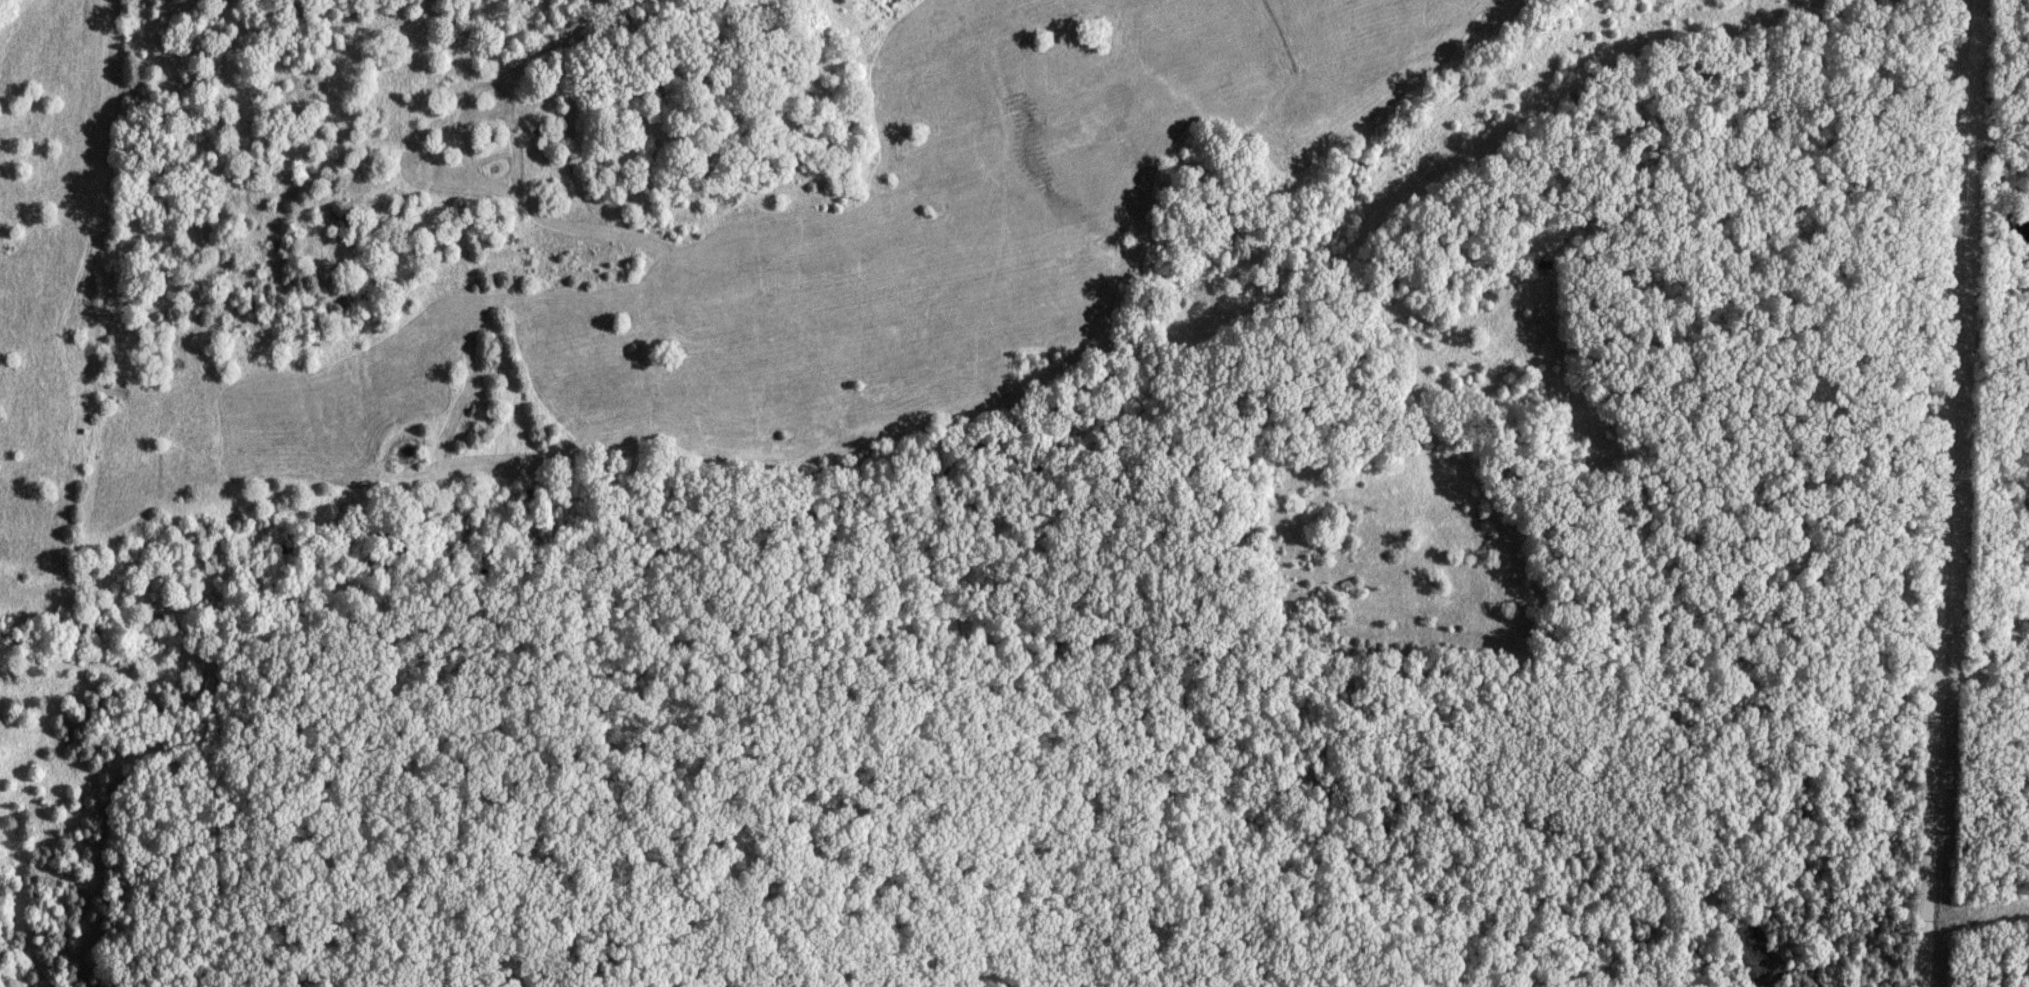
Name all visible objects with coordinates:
road: (1943, 493)
road: (1989, 657)

